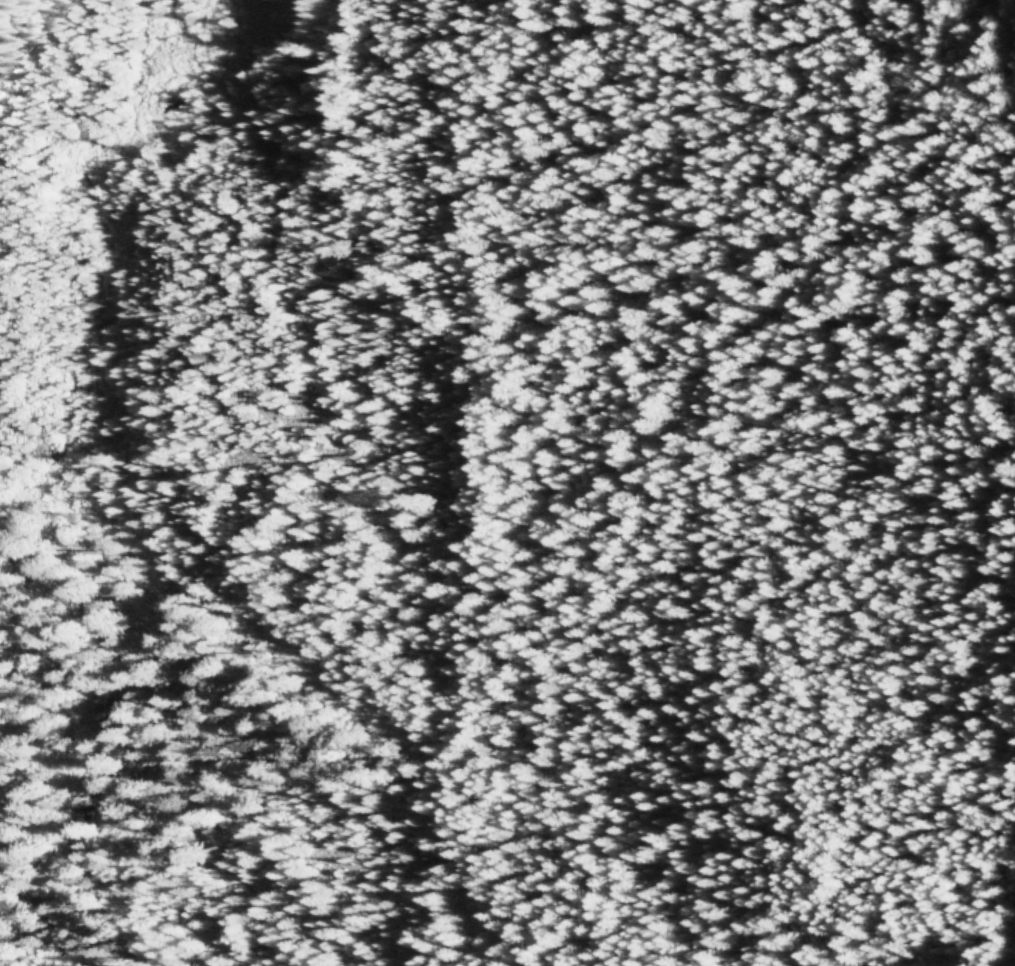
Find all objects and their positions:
road: (1013, 963)

